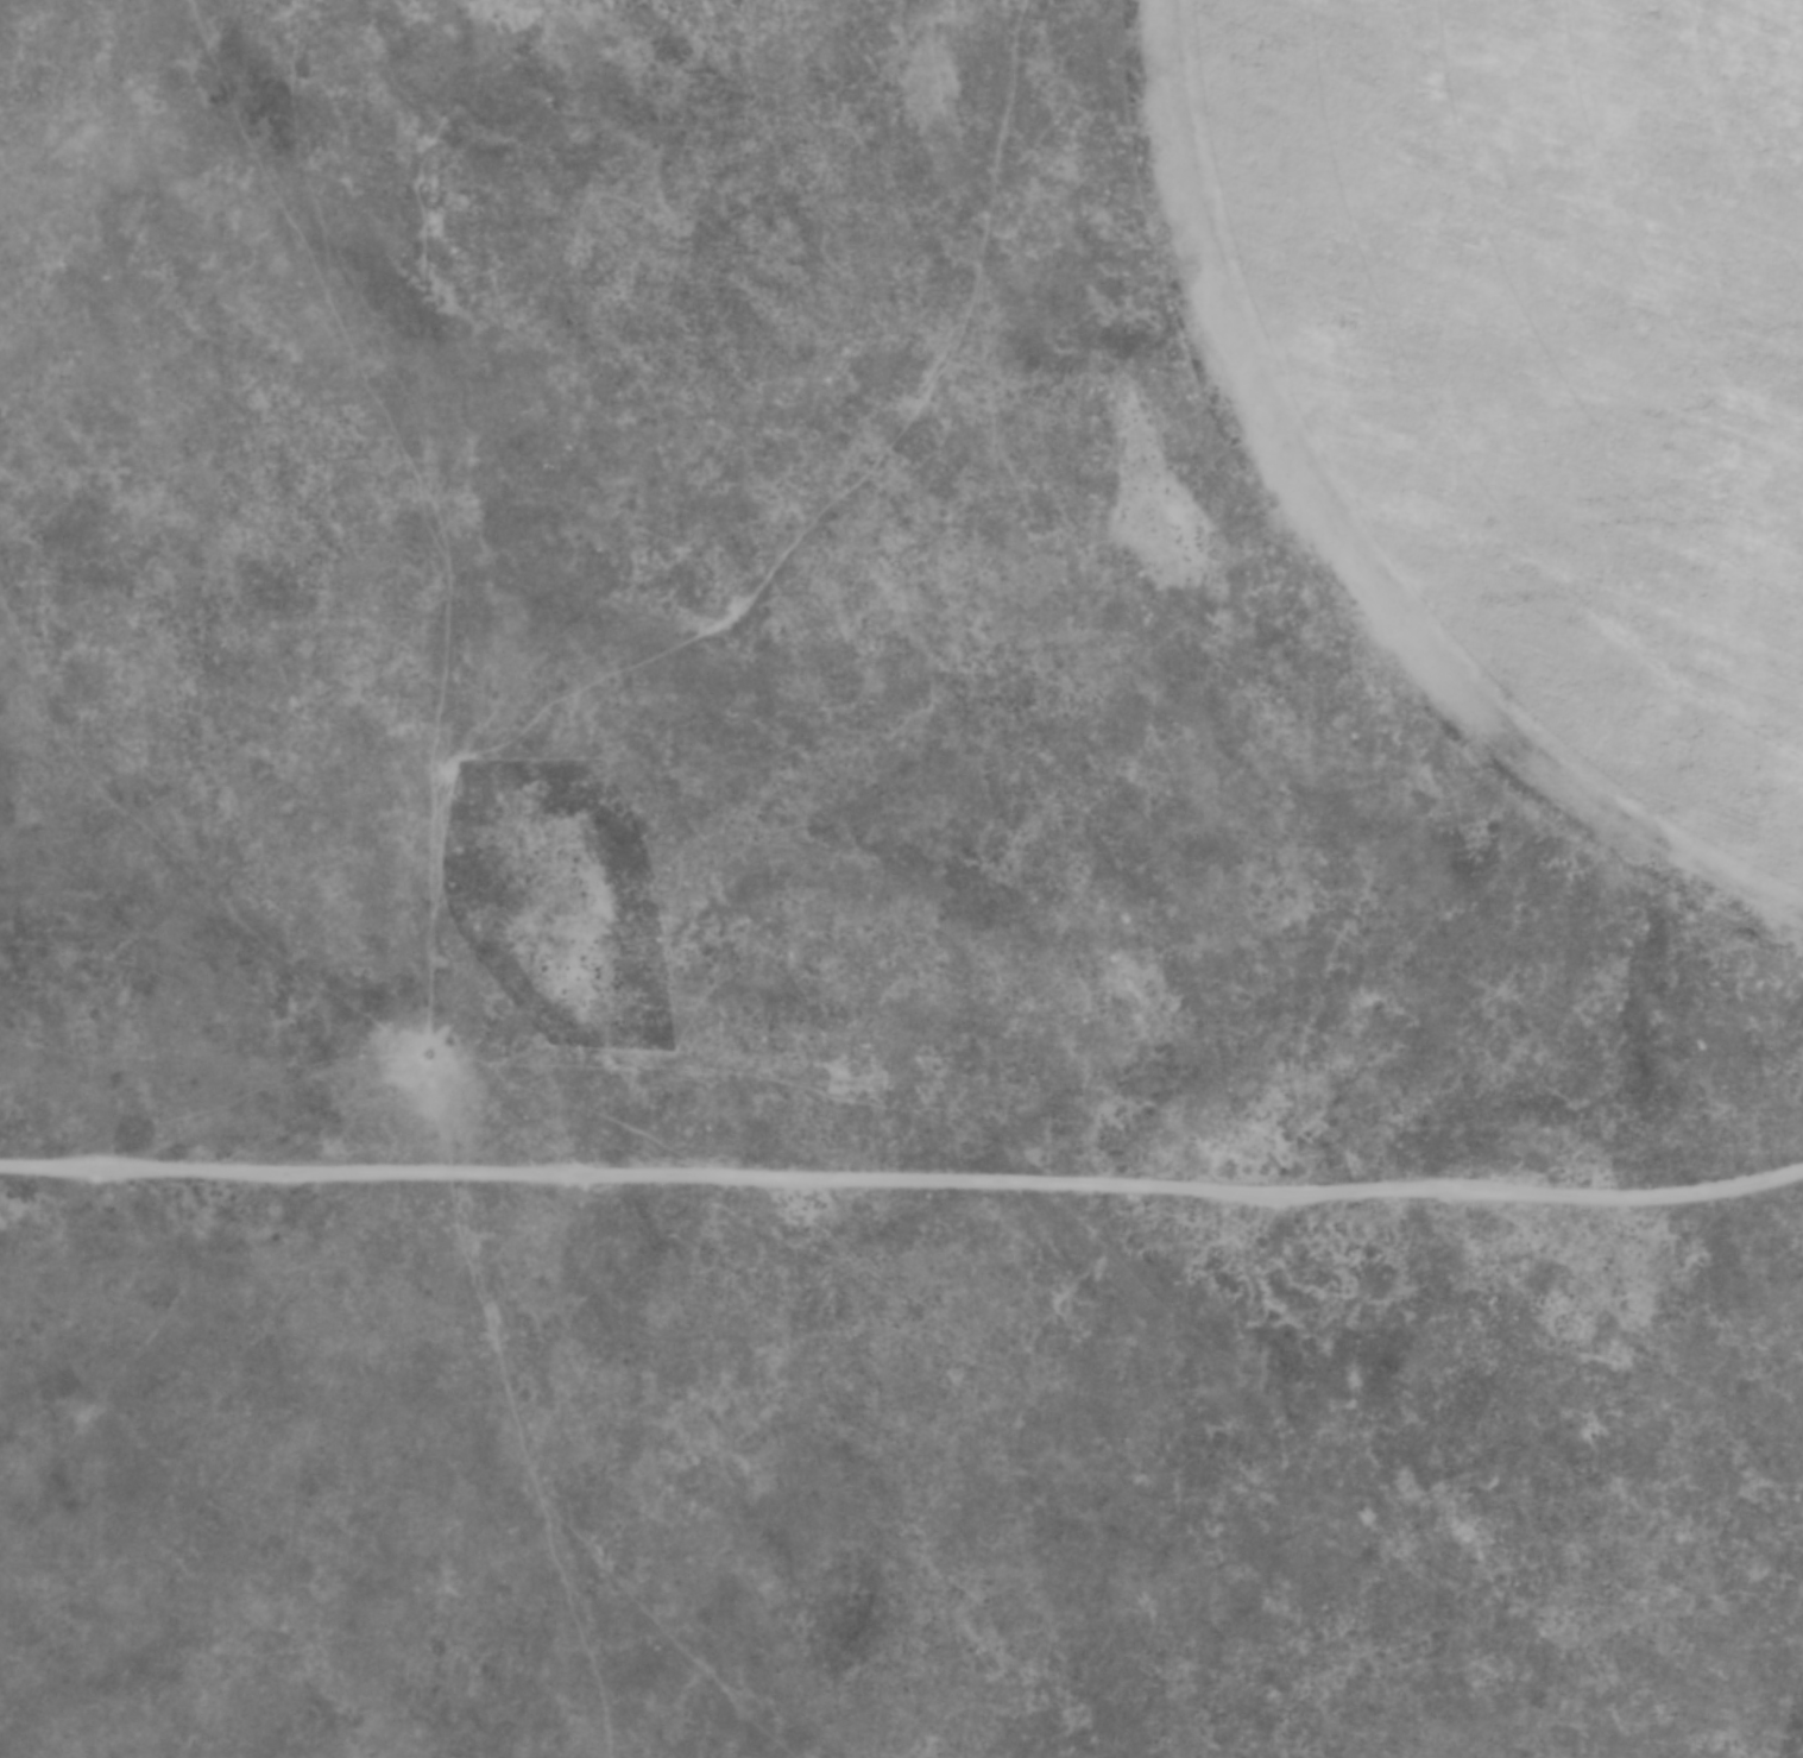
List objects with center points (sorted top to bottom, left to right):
crop: (1530, 370)

